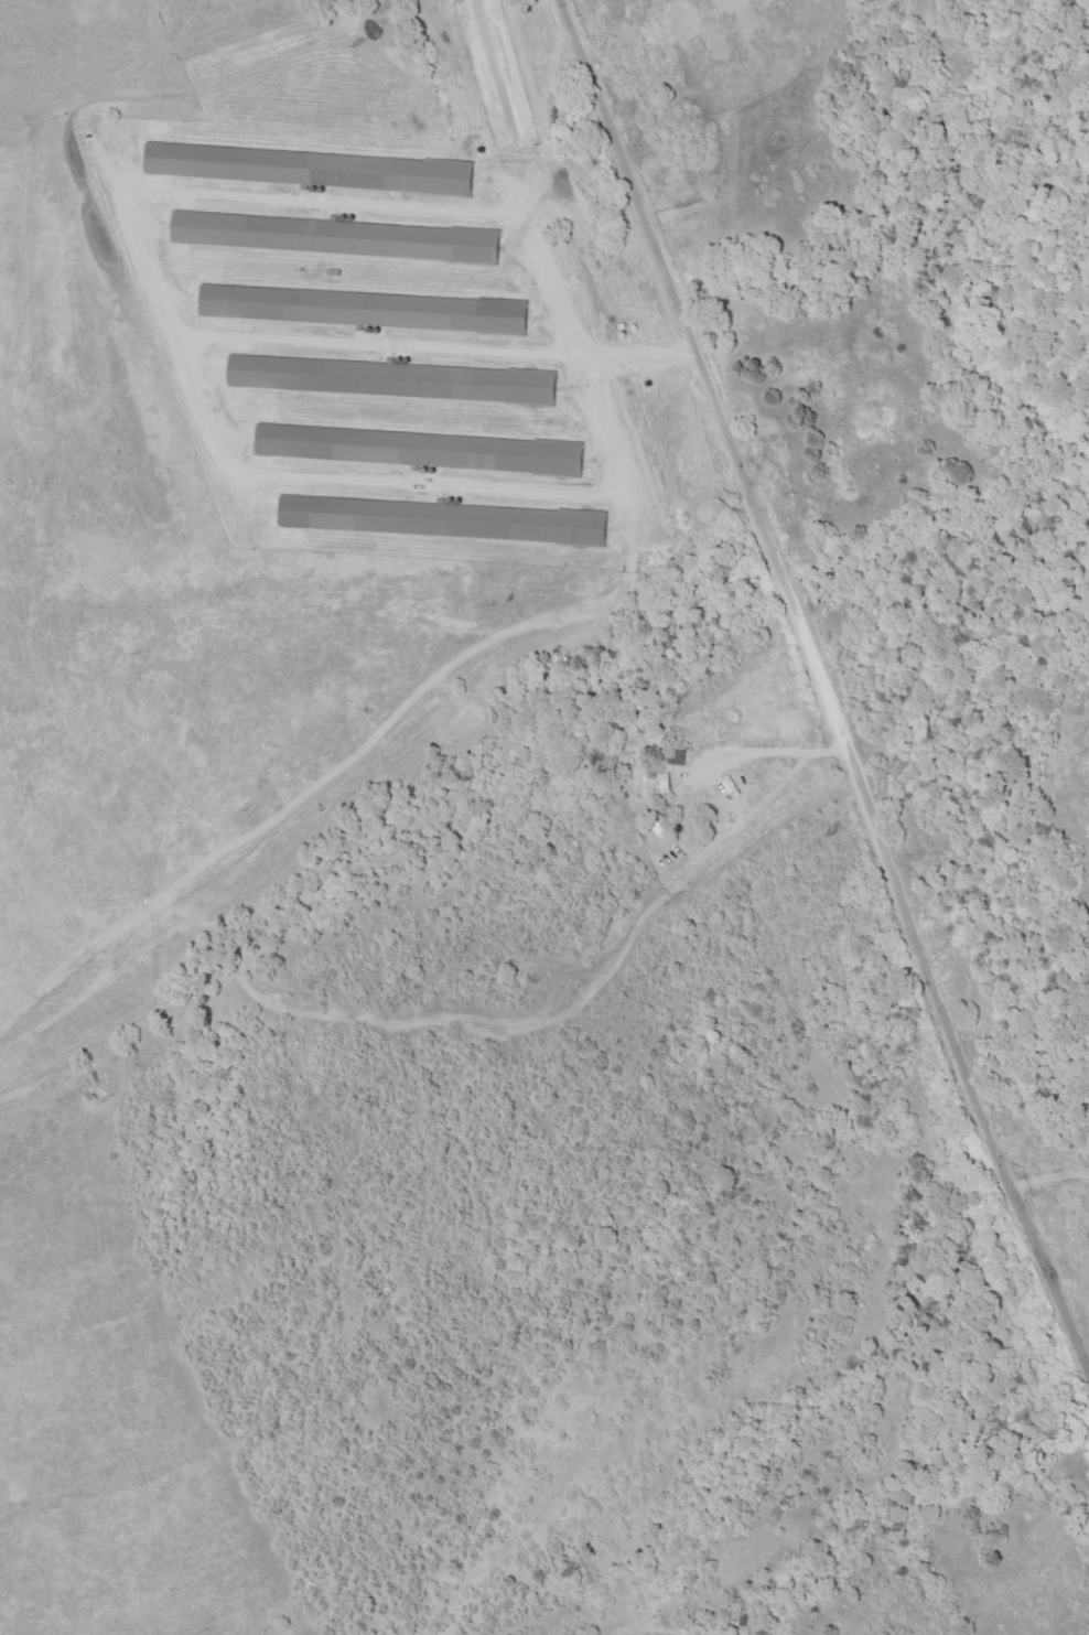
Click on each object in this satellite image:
building: (314, 168)
building: (337, 236)
building: (370, 309)
building: (393, 378)
building: (424, 449)
building: (443, 519)
road: (823, 680)
road: (775, 750)
road: (378, 752)
building: (678, 756)
building: (665, 783)

